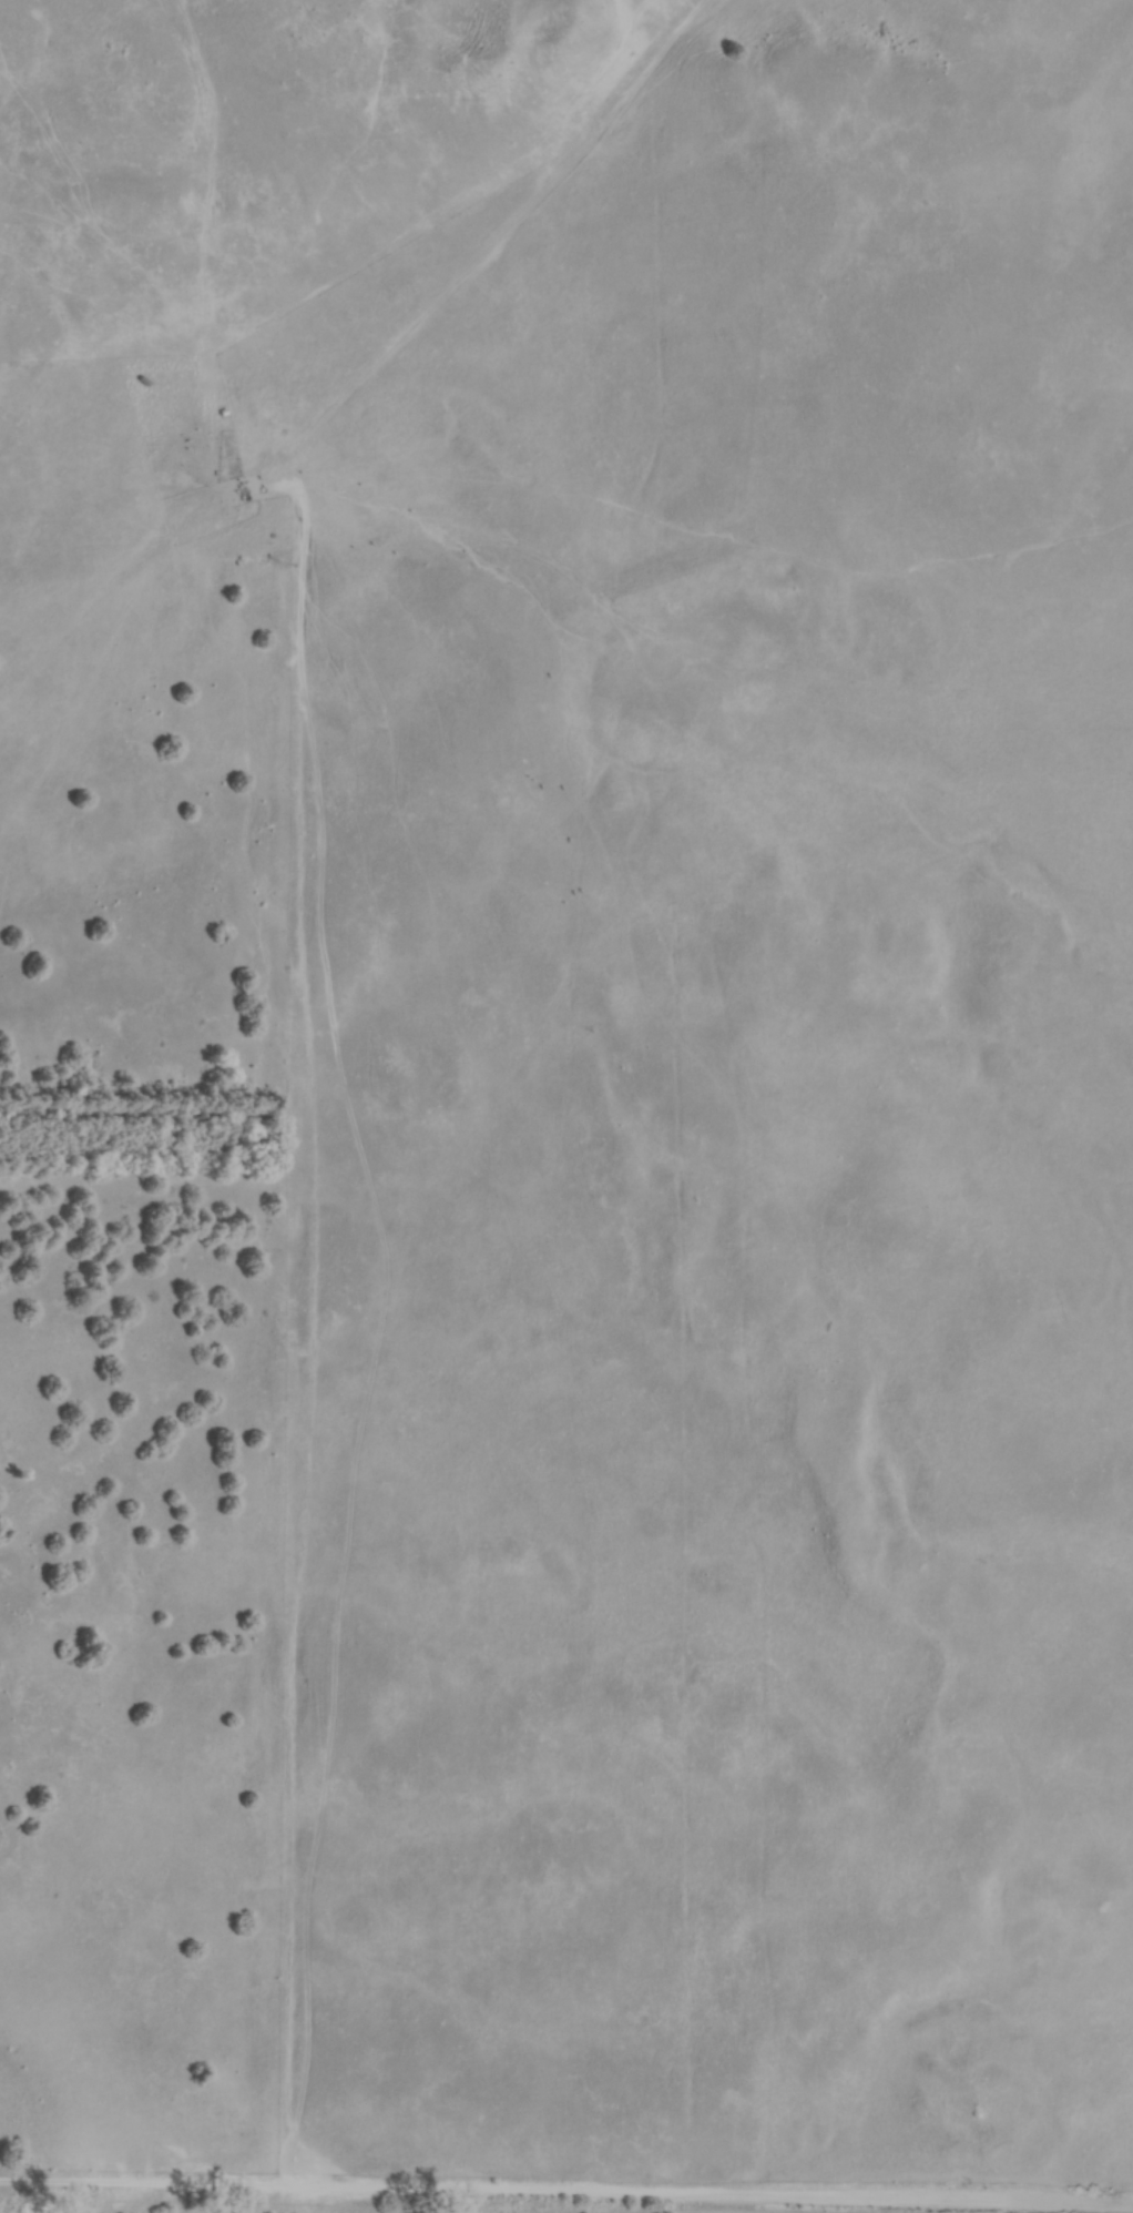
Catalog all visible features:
road: (566, 2192)

